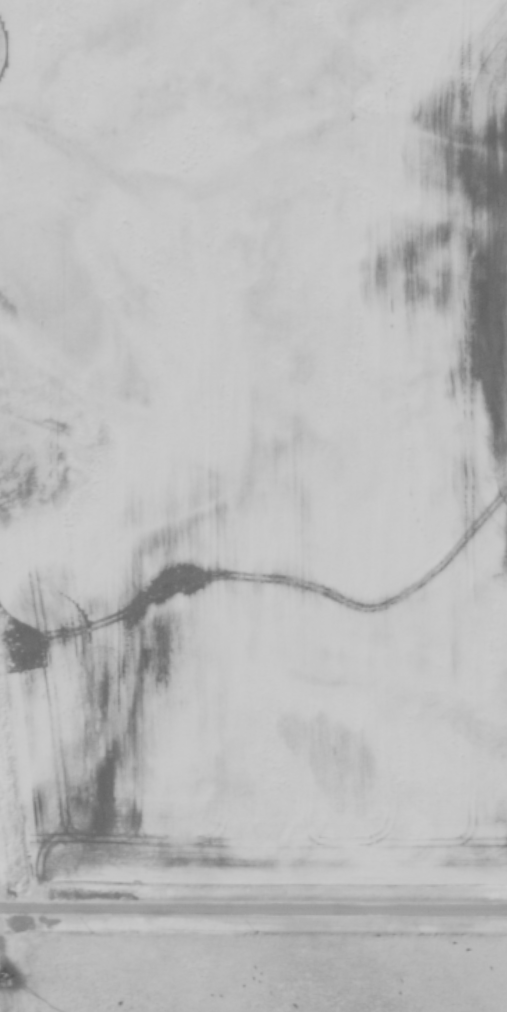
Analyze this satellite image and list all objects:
road: (253, 917)

